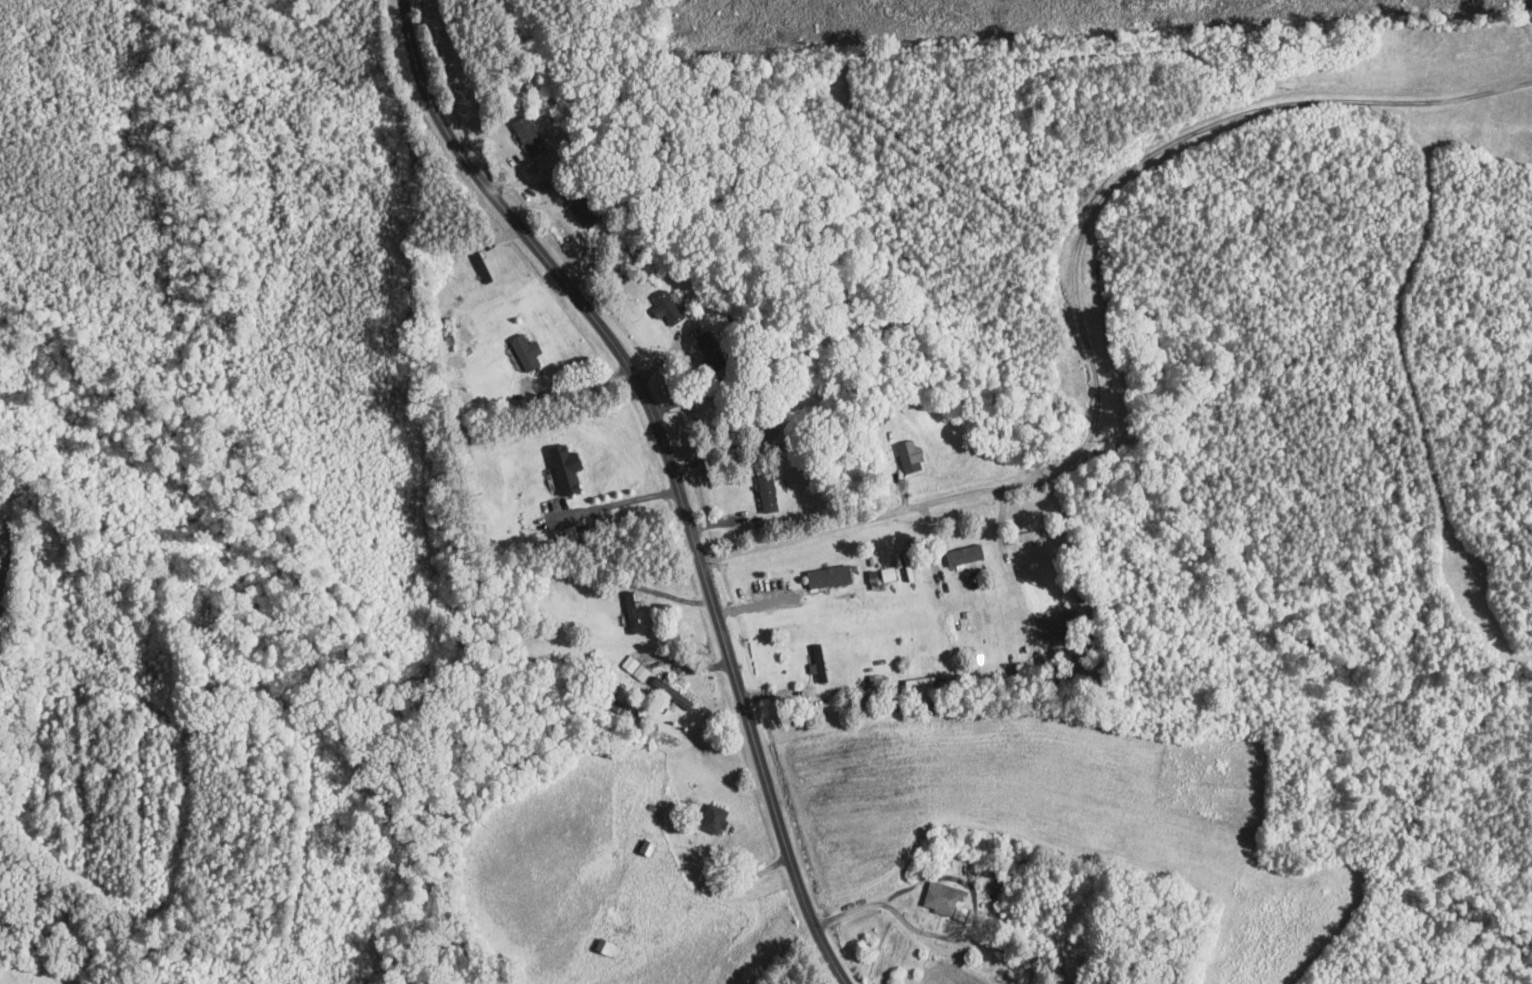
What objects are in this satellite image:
building: (529, 135)
building: (584, 211)
building: (637, 249)
building: (480, 264)
road: (1070, 295)
building: (668, 309)
building: (713, 352)
building: (527, 353)
building: (773, 426)
building: (910, 457)
road: (668, 464)
building: (768, 493)
road: (622, 503)
building: (1025, 537)
building: (965, 556)
building: (830, 577)
building: (632, 612)
building: (949, 626)
building: (819, 663)
building: (641, 673)
building: (878, 682)
building: (672, 693)
building: (713, 819)
building: (647, 848)
building: (945, 901)
building: (1008, 945)
building: (608, 949)
building: (1033, 959)

